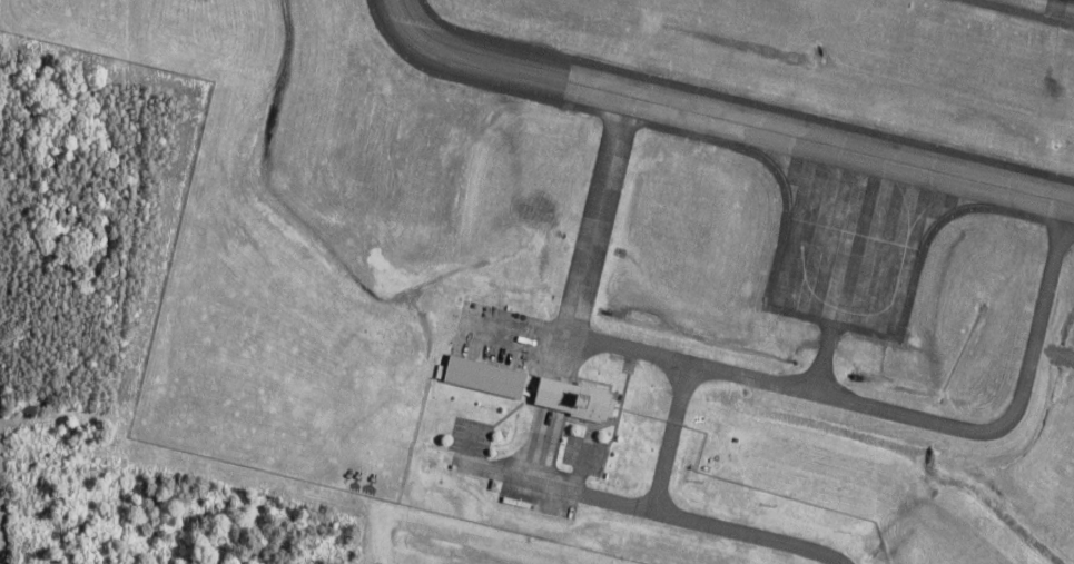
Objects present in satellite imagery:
airport taxiway: (723, 119)
airport apron: (853, 241)
airport: (628, 266)
airport taxiway: (826, 358)
building: (489, 378)
airport taxiway: (779, 386)
building: (579, 399)
road: (678, 518)

